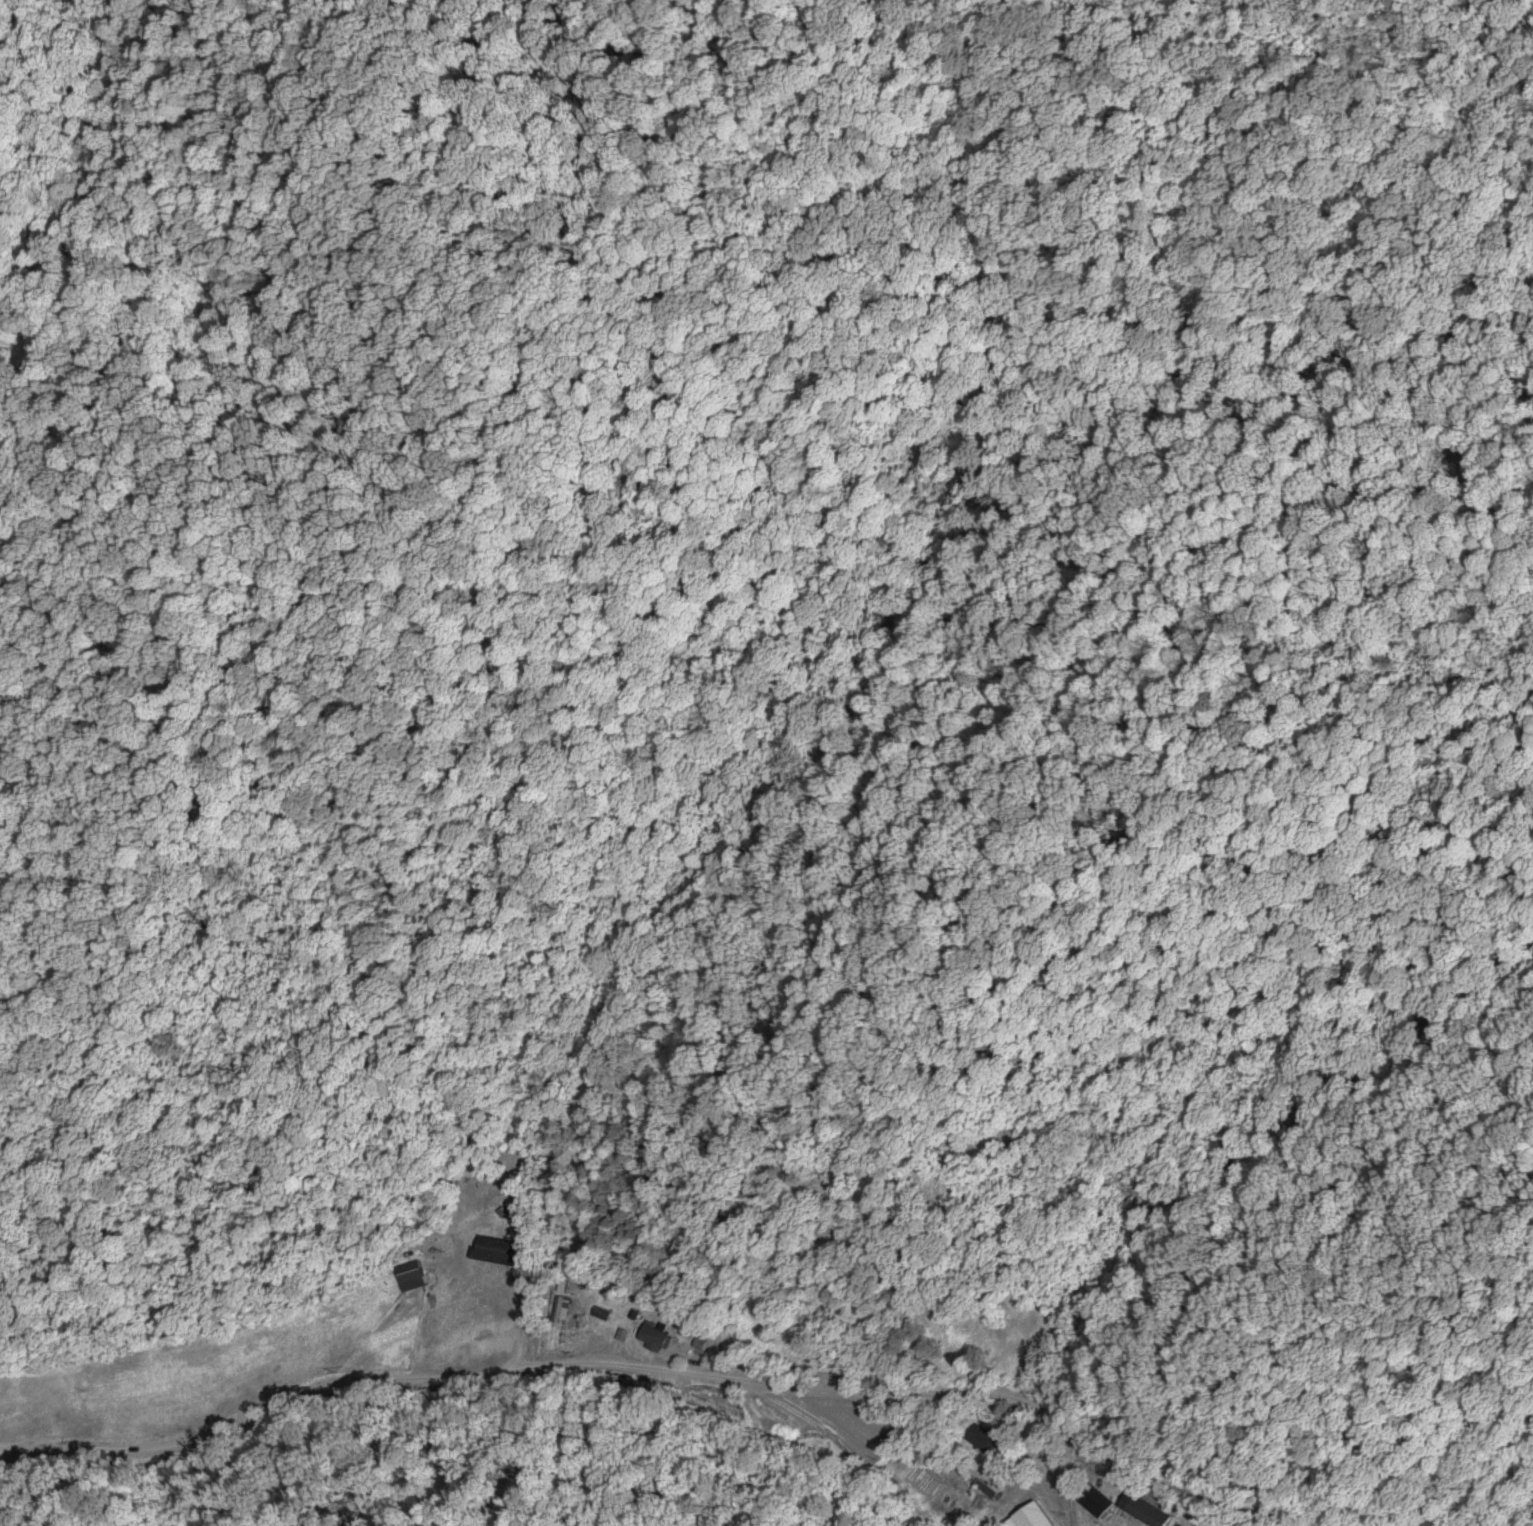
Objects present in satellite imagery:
building: (495, 1250)
building: (600, 1313)
road: (771, 1326)
building: (650, 1337)
building: (1141, 1509)
building: (1030, 1515)

